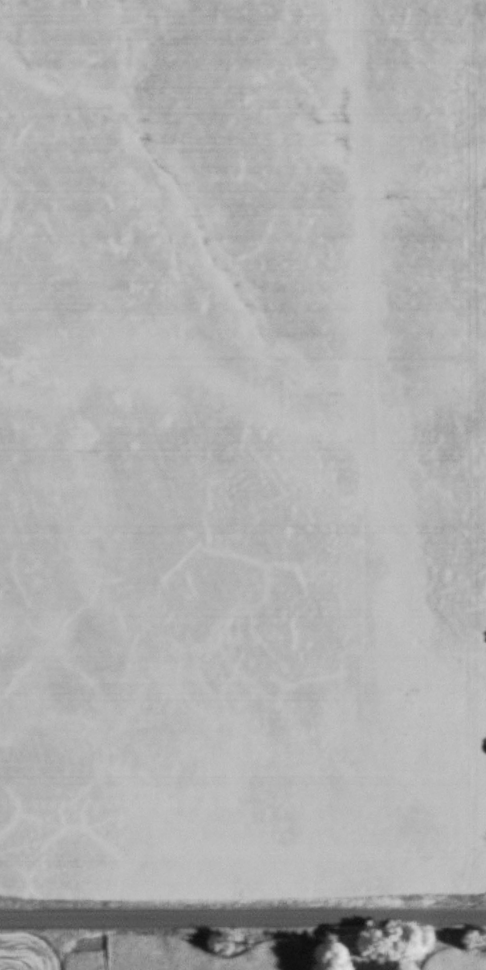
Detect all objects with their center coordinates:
road: (243, 911)
road: (395, 940)

